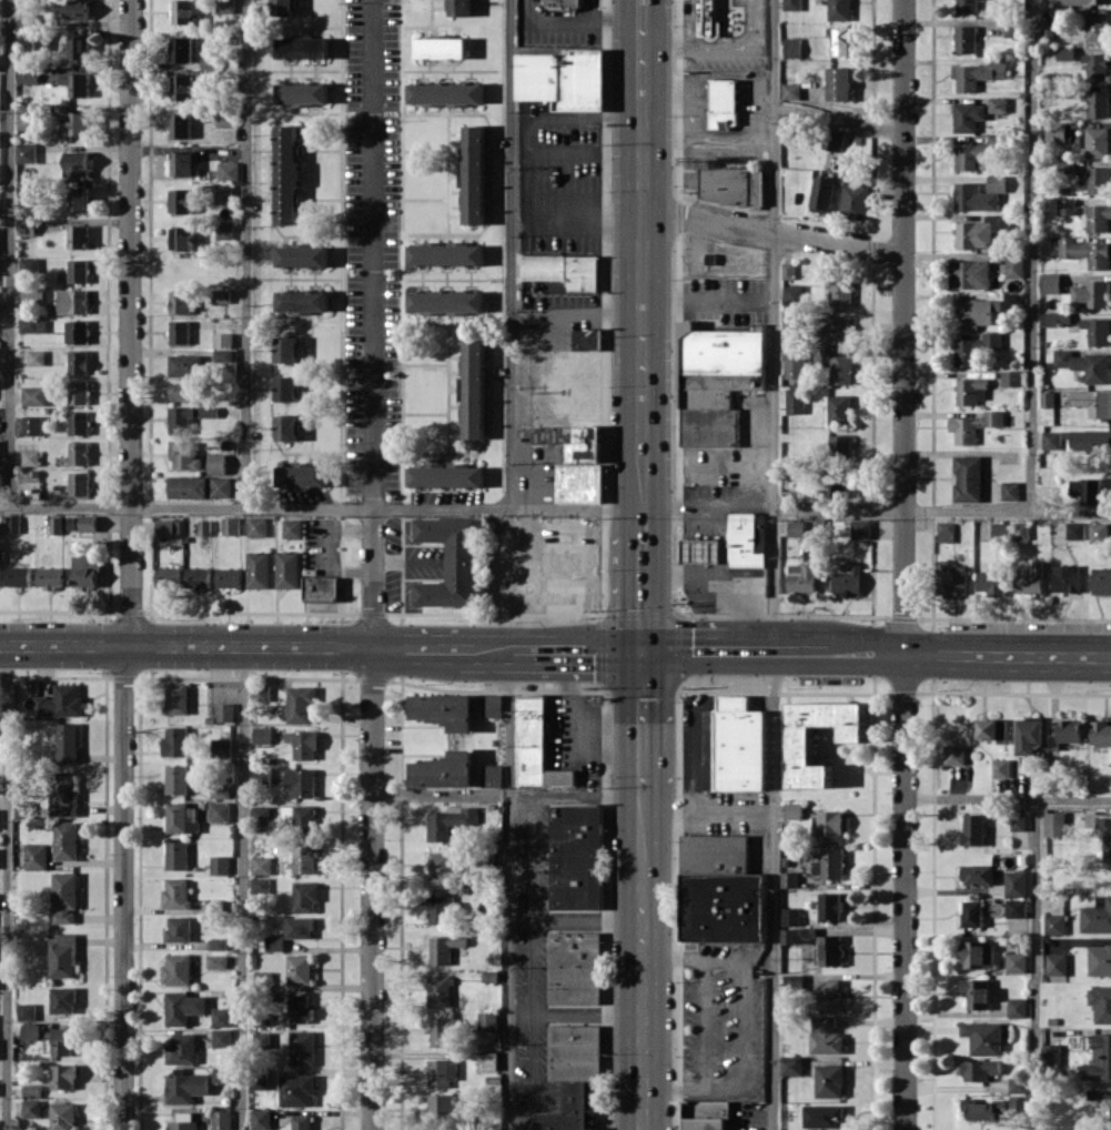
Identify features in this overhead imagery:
building: (1087, 1)
building: (574, 2)
building: (792, 4)
building: (225, 6)
building: (283, 7)
building: (0, 8)
building: (461, 8)
building: (73, 10)
building: (840, 10)
building: (188, 11)
road: (579, 18)
building: (1098, 24)
building: (1012, 28)
building: (967, 39)
building: (841, 41)
building: (80, 47)
building: (792, 47)
building: (303, 48)
building: (441, 48)
building: (182, 49)
building: (1067, 52)
building: (1097, 65)
building: (977, 73)
building: (28, 74)
building: (565, 79)
building: (77, 83)
building: (840, 83)
building: (183, 87)
building: (792, 90)
building: (303, 93)
building: (446, 93)
building: (0, 98)
building: (724, 102)
building: (998, 103)
building: (1099, 103)
road: (644, 104)
building: (969, 115)
building: (28, 117)
building: (225, 118)
road: (841, 118)
building: (79, 122)
building: (181, 125)
building: (1057, 131)
building: (0, 138)
building: (835, 139)
building: (1098, 142)
building: (28, 152)
road: (526, 162)
building: (78, 163)
building: (182, 163)
building: (229, 171)
building: (0, 174)
building: (287, 174)
building: (474, 174)
building: (1100, 179)
building: (733, 184)
building: (28, 188)
building: (222, 193)
building: (824, 193)
building: (979, 193)
building: (79, 198)
building: (182, 200)
building: (856, 201)
building: (1067, 205)
building: (1097, 216)
building: (28, 226)
building: (225, 230)
road: (775, 232)
building: (983, 232)
building: (80, 236)
building: (183, 236)
building: (1084, 251)
road: (11, 253)
road: (245, 254)
building: (446, 254)
road: (511, 254)
road: (1034, 255)
building: (302, 256)
road: (643, 262)
building: (31, 264)
building: (1014, 265)
building: (79, 270)
building: (565, 270)
building: (789, 270)
building: (0, 272)
building: (973, 273)
building: (1051, 282)
building: (841, 292)
building: (1092, 293)
building: (33, 294)
building: (794, 294)
building: (222, 295)
road: (709, 299)
building: (74, 301)
building: (181, 301)
building: (303, 301)
building: (446, 301)
road: (131, 302)
building: (977, 312)
road: (576, 316)
building: (1057, 317)
building: (792, 319)
building: (33, 324)
building: (837, 330)
building: (1098, 330)
building: (80, 331)
building: (181, 331)
building: (224, 339)
building: (588, 339)
building: (976, 347)
building: (287, 349)
building: (37, 357)
building: (80, 362)
building: (796, 363)
building: (1084, 364)
building: (185, 365)
building: (841, 369)
building: (1012, 377)
building: (718, 381)
building: (287, 387)
building: (474, 390)
building: (970, 390)
building: (184, 391)
building: (79, 392)
building: (36, 395)
building: (796, 400)
building: (1094, 401)
building: (840, 408)
road: (642, 411)
building: (190, 416)
building: (80, 422)
building: (33, 424)
building: (974, 425)
building: (289, 426)
building: (1053, 440)
building: (1091, 440)
building: (841, 444)
building: (0, 447)
building: (80, 453)
building: (185, 455)
building: (31, 457)
building: (576, 461)
building: (218, 463)
building: (302, 475)
building: (446, 476)
building: (969, 477)
building: (0, 478)
building: (80, 483)
building: (189, 486)
building: (222, 486)
building: (836, 486)
building: (1090, 488)
building: (1012, 490)
road: (729, 502)
road: (664, 505)
road: (320, 509)
road: (942, 512)
building: (89, 522)
building: (13, 524)
building: (57, 525)
building: (231, 525)
building: (256, 526)
building: (168, 527)
building: (797, 527)
building: (292, 528)
building: (861, 528)
building: (1011, 529)
building: (1078, 529)
building: (947, 531)
building: (1100, 532)
building: (761, 534)
building: (745, 542)
building: (701, 549)
building: (453, 561)
road: (774, 564)
road: (372, 565)
road: (905, 565)
building: (87, 569)
building: (259, 569)
building: (287, 569)
building: (18, 576)
road: (683, 576)
building: (50, 577)
building: (168, 577)
building: (229, 577)
road: (642, 577)
road: (724, 577)
building: (802, 577)
building: (1068, 577)
building: (199, 578)
building: (848, 578)
road: (528, 579)
building: (953, 579)
building: (1032, 581)
building: (1102, 581)
building: (992, 582)
building: (321, 587)
road: (128, 646)
road: (321, 646)
traffic signals: (642, 649)
road: (772, 649)
road: (1008, 652)
building: (176, 697)
building: (60, 702)
building: (300, 703)
building: (493, 705)
building: (225, 712)
road: (642, 717)
building: (994, 729)
building: (1069, 732)
building: (1101, 732)
building: (262, 734)
building: (1029, 734)
building: (467, 739)
building: (175, 740)
building: (67, 741)
building: (303, 744)
building: (740, 744)
building: (537, 745)
building: (222, 746)
building: (801, 753)
building: (955, 755)
building: (1000, 767)
building: (492, 775)
building: (176, 778)
building: (302, 781)
building: (220, 789)
road: (434, 793)
road: (577, 793)
building: (63, 794)
road: (1008, 798)
building: (22, 808)
road: (707, 809)
building: (220, 810)
building: (792, 810)
building: (261, 815)
building: (182, 817)
building: (1019, 820)
building: (451, 821)
building: (1054, 824)
building: (830, 825)
building: (973, 828)
building: (1105, 837)
building: (65, 840)
building: (176, 855)
building: (36, 856)
building: (577, 856)
building: (304, 858)
building: (220, 864)
building: (830, 864)
building: (261, 865)
building: (443, 866)
road: (642, 870)
building: (978, 874)
building: (790, 878)
building: (1016, 882)
building: (261, 886)
road: (7, 888)
road: (242, 888)
road: (514, 889)
building: (721, 890)
building: (176, 892)
building: (64, 896)
building: (306, 896)
building: (212, 906)
building: (830, 906)
road: (124, 908)
building: (440, 908)
building: (1016, 908)
building: (972, 912)
building: (791, 916)
building: (1097, 916)
road: (577, 919)
building: (1054, 924)
building: (179, 928)
building: (798, 935)
building: (274, 942)
building: (218, 944)
building: (444, 948)
building: (830, 949)
building: (979, 954)
building: (63, 955)
road: (673, 957)
building: (1099, 959)
building: (216, 961)
building: (1017, 961)
building: (1057, 963)
road: (1036, 965)
building: (574, 967)
building: (300, 968)
building: (176, 969)
building: (794, 981)
building: (440, 990)
building: (976, 992)
building: (829, 993)
building: (63, 999)
building: (1101, 1002)
road: (744, 1006)
building: (184, 1007)
building: (301, 1008)
building: (1017, 1008)
building: (27, 1011)
road: (577, 1016)
building: (222, 1017)
building: (488, 1020)
road: (704, 1022)
building: (442, 1030)
building: (30, 1031)
building: (826, 1035)
building: (983, 1037)
building: (222, 1038)
building: (64, 1040)
road: (642, 1042)
building: (303, 1047)
building: (182, 1049)
building: (1052, 1053)
building: (1099, 1058)
building: (488, 1060)
building: (791, 1065)
building: (978, 1068)
building: (441, 1071)
building: (223, 1074)
building: (63, 1076)
building: (574, 1076)
building: (829, 1080)
building: (1018, 1083)
building: (186, 1087)
road: (690, 1088)
building: (31, 1089)
building: (297, 1090)
building: (1100, 1093)
building: (1018, 1102)
building: (441, 1106)
building: (31, 1108)
building: (981, 1108)
building: (1108, 1110)
building: (706, 1114)
building: (822, 1114)
building: (62, 1116)
building: (222, 1119)
building: (261, 1119)
building: (302, 1121)
building: (183, 1122)

